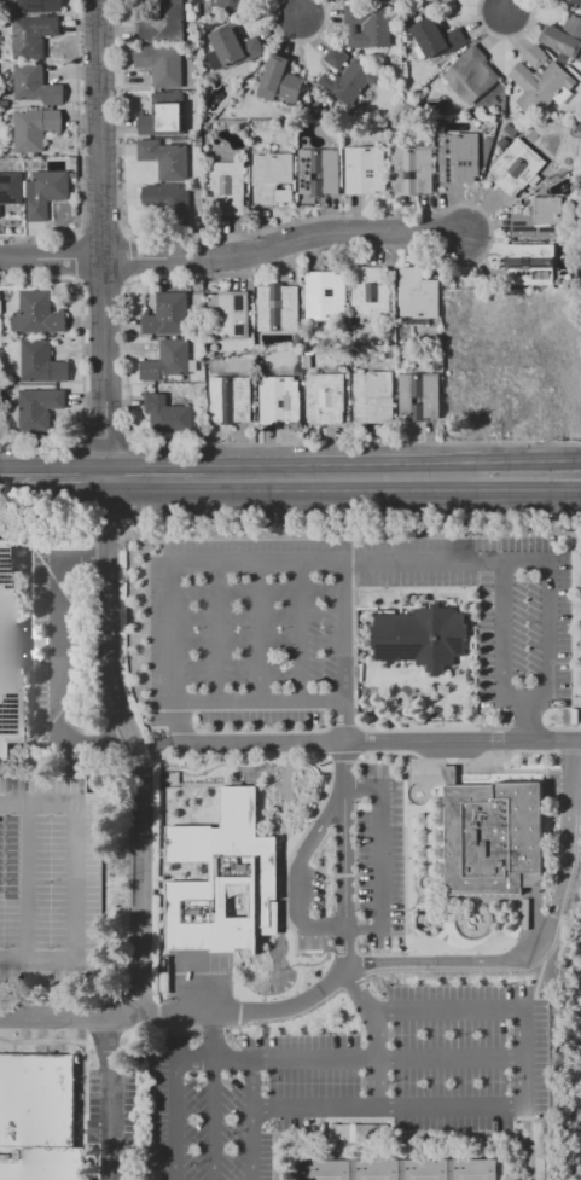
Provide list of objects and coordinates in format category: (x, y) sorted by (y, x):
building: (571, 0)
building: (443, 1)
building: (39, 5)
road: (298, 5)
road: (505, 5)
building: (226, 7)
building: (164, 22)
building: (368, 24)
building: (33, 35)
road: (502, 35)
building: (437, 37)
building: (564, 37)
road: (297, 40)
building: (233, 47)
building: (536, 57)
building: (336, 58)
building: (162, 64)
building: (471, 74)
building: (280, 80)
building: (349, 81)
building: (36, 85)
building: (540, 86)
building: (164, 115)
building: (35, 128)
building: (512, 129)
building: (504, 143)
building: (167, 157)
building: (459, 157)
building: (516, 167)
building: (412, 169)
building: (365, 170)
building: (318, 174)
building: (272, 178)
building: (228, 186)
building: (11, 188)
building: (46, 192)
building: (167, 197)
building: (540, 219)
road: (104, 238)
road: (325, 246)
road: (233, 254)
building: (530, 265)
building: (371, 289)
building: (418, 293)
building: (325, 295)
building: (278, 307)
building: (37, 313)
building: (168, 314)
building: (227, 314)
building: (448, 351)
building: (169, 361)
building: (45, 365)
building: (496, 380)
building: (419, 395)
building: (0, 396)
building: (325, 397)
building: (373, 397)
building: (231, 400)
building: (280, 400)
building: (42, 409)
building: (170, 415)
road: (486, 461)
road: (7, 478)
road: (60, 478)
road: (156, 478)
road: (298, 479)
road: (486, 494)
road: (370, 516)
road: (580, 553)
road: (83, 556)
road: (527, 559)
road: (248, 563)
road: (109, 605)
parking lot: (524, 623)
parking lot: (273, 624)
road: (302, 630)
road: (344, 630)
road: (216, 632)
road: (260, 632)
building: (422, 636)
building: (6, 641)
parking lot: (59, 644)
road: (57, 659)
road: (260, 701)
road: (530, 721)
road: (564, 727)
road: (104, 742)
road: (378, 742)
road: (345, 836)
building: (493, 837)
road: (380, 858)
parking lot: (350, 864)
road: (144, 870)
road: (298, 872)
building: (225, 879)
building: (52, 883)
road: (556, 897)
building: (164, 982)
road: (295, 1004)
road: (72, 1013)
road: (374, 1036)
road: (523, 1053)
road: (343, 1058)
road: (193, 1059)
parking lot: (361, 1066)
road: (120, 1097)
road: (313, 1109)
building: (43, 1120)
road: (174, 1120)
road: (211, 1120)
road: (250, 1120)
park: (399, 1169)

